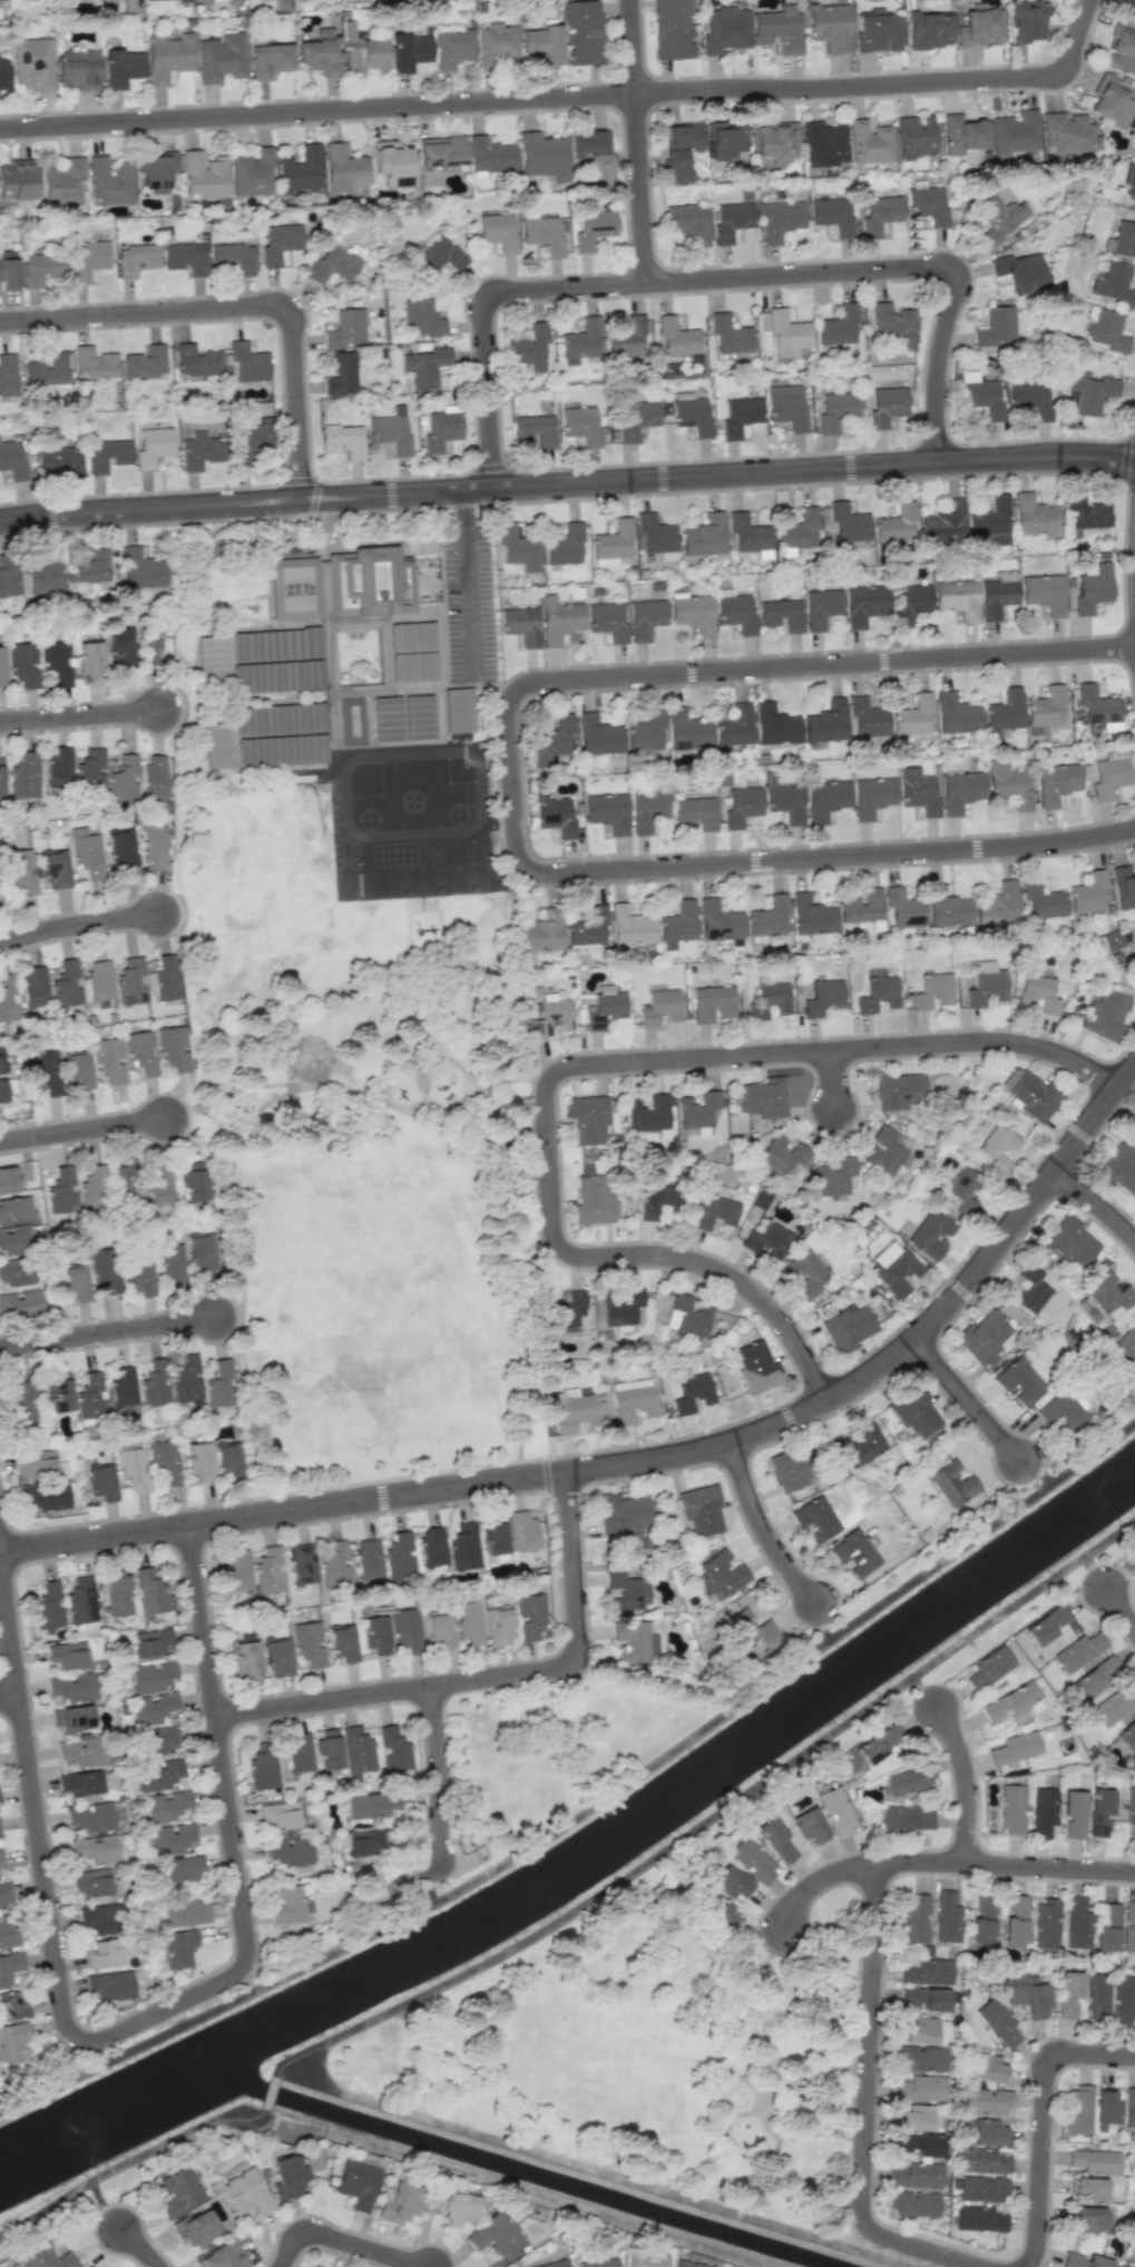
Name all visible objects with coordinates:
building: (153, 0)
building: (233, 0)
building: (202, 1)
building: (123, 4)
building: (1128, 8)
building: (1025, 20)
building: (829, 26)
building: (980, 26)
building: (672, 29)
building: (724, 29)
building: (777, 29)
building: (929, 29)
building: (584, 31)
building: (877, 31)
building: (542, 42)
building: (496, 43)
building: (452, 47)
building: (408, 51)
building: (1121, 51)
building: (320, 52)
building: (363, 53)
building: (168, 57)
building: (221, 57)
building: (268, 59)
building: (32, 63)
building: (121, 67)
building: (78, 69)
building: (2, 74)
road: (890, 85)
building: (1110, 100)
road: (319, 113)
building: (1015, 133)
building: (1067, 133)
building: (962, 134)
building: (913, 136)
road: (639, 140)
building: (774, 140)
building: (724, 141)
building: (869, 141)
building: (822, 143)
building: (679, 149)
building: (441, 152)
building: (489, 156)
building: (542, 156)
building: (593, 156)
building: (390, 163)
building: (343, 168)
building: (300, 169)
building: (155, 170)
building: (252, 173)
building: (203, 176)
building: (61, 180)
building: (109, 180)
building: (16, 182)
building: (1132, 190)
building: (928, 205)
building: (879, 213)
building: (832, 215)
building: (997, 216)
building: (779, 219)
building: (731, 221)
building: (687, 222)
building: (594, 227)
building: (498, 232)
building: (542, 233)
building: (1124, 238)
building: (278, 242)
building: (437, 254)
building: (234, 256)
building: (185, 257)
building: (88, 258)
building: (136, 260)
building: (331, 265)
building: (1020, 272)
building: (8, 274)
road: (718, 277)
building: (1113, 285)
road: (237, 307)
building: (421, 317)
building: (894, 324)
building: (839, 325)
building: (998, 326)
building: (345, 329)
building: (1107, 331)
building: (786, 332)
building: (730, 334)
building: (626, 336)
building: (677, 338)
building: (581, 340)
building: (529, 349)
building: (195, 360)
building: (145, 362)
building: (247, 362)
building: (94, 363)
building: (424, 367)
building: (47, 371)
building: (7, 374)
building: (341, 374)
building: (1087, 393)
building: (1029, 398)
building: (886, 405)
building: (786, 407)
building: (835, 409)
building: (740, 414)
building: (692, 416)
building: (636, 419)
building: (580, 426)
building: (440, 429)
building: (534, 429)
building: (391, 433)
building: (252, 436)
building: (342, 441)
building: (153, 446)
building: (199, 450)
building: (106, 455)
building: (13, 459)
building: (60, 461)
road: (717, 475)
road: (149, 508)
building: (1085, 515)
building: (1034, 516)
building: (943, 524)
building: (989, 524)
building: (894, 525)
building: (848, 526)
building: (798, 531)
building: (747, 532)
building: (655, 535)
building: (704, 536)
building: (614, 540)
building: (565, 546)
building: (518, 547)
building: (89, 567)
building: (141, 570)
building: (41, 576)
building: (8, 582)
road: (467, 584)
building: (1092, 586)
building: (1044, 593)
building: (996, 597)
building: (957, 598)
building: (910, 602)
building: (863, 604)
building: (821, 607)
building: (736, 613)
building: (693, 614)
building: (781, 614)
building: (363, 616)
building: (645, 617)
building: (558, 619)
building: (607, 621)
building: (521, 625)
building: (275, 644)
building: (150, 645)
building: (119, 646)
building: (211, 657)
building: (89, 661)
building: (55, 663)
road: (834, 664)
building: (1, 667)
building: (23, 667)
building: (277, 676)
building: (1045, 706)
building: (458, 710)
building: (1002, 712)
road: (80, 714)
building: (956, 714)
building: (912, 715)
building: (418, 717)
building: (867, 717)
building: (280, 719)
building: (387, 719)
building: (350, 721)
building: (825, 722)
building: (774, 724)
building: (734, 726)
building: (645, 730)
building: (686, 730)
building: (598, 735)
building: (552, 740)
building: (218, 745)
building: (281, 750)
building: (58, 766)
building: (89, 770)
building: (0, 775)
building: (25, 775)
building: (1108, 776)
building: (123, 779)
building: (153, 779)
road: (513, 782)
building: (1055, 783)
building: (1008, 784)
building: (917, 791)
building: (960, 791)
building: (871, 795)
building: (825, 799)
building: (784, 802)
building: (740, 804)
building: (647, 810)
building: (607, 811)
building: (695, 812)
building: (554, 814)
building: (153, 847)
building: (121, 849)
building: (86, 852)
road: (842, 857)
building: (55, 869)
building: (21, 872)
building: (1123, 886)
building: (1087, 893)
building: (1040, 900)
building: (997, 905)
building: (861, 906)
building: (946, 907)
building: (902, 908)
building: (811, 915)
building: (767, 917)
park: (264, 919)
building: (718, 920)
building: (678, 922)
road: (81, 925)
building: (587, 926)
building: (630, 926)
building: (544, 930)
building: (1110, 940)
building: (1133, 945)
building: (581, 947)
building: (147, 979)
building: (98, 980)
building: (985, 984)
building: (66, 985)
building: (33, 986)
building: (931, 991)
building: (1039, 993)
building: (877, 994)
building: (7, 997)
building: (821, 997)
building: (771, 1000)
building: (712, 1004)
building: (659, 1007)
building: (604, 1009)
building: (557, 1013)
building: (1105, 1015)
building: (173, 1048)
building: (140, 1052)
road: (427, 1058)
building: (108, 1059)
building: (0, 1063)
road: (586, 1065)
building: (78, 1069)
building: (45, 1072)
road: (835, 1079)
road: (506, 1083)
road: (272, 1084)
building: (900, 1091)
building: (1, 1092)
building: (1033, 1096)
building: (763, 1097)
building: (698, 1110)
road: (431, 1113)
building: (587, 1117)
road: (84, 1130)
park: (360, 1145)
building: (997, 1149)
building: (883, 1152)
building: (781, 1154)
building: (1119, 1169)
building: (833, 1176)
building: (127, 1179)
building: (7, 1181)
building: (194, 1183)
building: (159, 1184)
building: (91, 1185)
building: (61, 1190)
building: (658, 1200)
building: (593, 1201)
road: (1097, 1202)
building: (713, 1205)
building: (14, 1209)
park: (358, 1230)
building: (929, 1233)
building: (13, 1239)
building: (766, 1239)
building: (203, 1254)
building: (172, 1266)
building: (893, 1268)
building: (105, 1270)
building: (16, 1272)
road: (244, 1273)
building: (803, 1273)
building: (139, 1277)
building: (74, 1284)
building: (1030, 1289)
building: (1108, 1292)
building: (20, 1303)
building: (622, 1306)
building: (574, 1308)
road: (229, 1315)
building: (688, 1316)
building: (847, 1328)
road: (108, 1333)
building: (982, 1336)
building: (1125, 1349)
building: (755, 1367)
building: (185, 1377)
building: (1017, 1380)
building: (154, 1384)
building: (218, 1384)
building: (121, 1386)
park: (385, 1386)
building: (692, 1394)
building: (90, 1396)
building: (632, 1400)
road: (968, 1400)
building: (23, 1404)
building: (1060, 1410)
building: (914, 1411)
building: (862, 1443)
building: (229, 1458)
building: (199, 1460)
building: (165, 1463)
road: (644, 1463)
building: (36, 1464)
building: (133, 1469)
building: (787, 1469)
building: (101, 1482)
building: (953, 1483)
building: (43, 1496)
building: (702, 1509)
building: (622, 1514)
building: (815, 1517)
building: (521, 1530)
road: (763, 1530)
building: (492, 1537)
building: (431, 1546)
building: (463, 1546)
building: (853, 1553)
building: (399, 1556)
building: (366, 1557)
building: (496, 1557)
building: (1134, 1558)
building: (333, 1563)
building: (302, 1564)
building: (236, 1570)
building: (270, 1571)
building: (723, 1572)
road: (1095, 1572)
building: (149, 1591)
building: (627, 1591)
building: (117, 1595)
building: (80, 1601)
building: (49, 1608)
road: (1121, 1609)
road: (878, 1611)
building: (469, 1622)
building: (1047, 1623)
building: (498, 1626)
building: (405, 1630)
building: (750, 1631)
building: (439, 1632)
building: (246, 1634)
building: (375, 1634)
building: (635, 1641)
building: (151, 1642)
building: (309, 1643)
building: (342, 1643)
building: (1078, 1651)
building: (66, 1655)
building: (277, 1657)
building: (246, 1659)
building: (989, 1668)
building: (151, 1675)
building: (1092, 1678)
road: (485, 1679)
building: (71, 1688)
road: (921, 1689)
road: (8, 1694)
building: (1009, 1701)
building: (1115, 1704)
building: (151, 1709)
building: (72, 1718)
building: (1126, 1735)
building: (162, 1740)
road: (216, 1742)
building: (874, 1746)
building: (393, 1748)
building: (1015, 1748)
building: (327, 1749)
building: (358, 1749)
building: (80, 1752)
building: (299, 1752)
building: (263, 1767)
road: (443, 1772)
building: (158, 1773)
building: (908, 1778)
road: (963, 1779)
building: (81, 1782)
building: (370, 1804)
building: (166, 1805)
building: (1011, 1809)
building: (835, 1810)
building: (1043, 1811)
building: (1098, 1811)
building: (1131, 1812)
building: (1073, 1814)
road: (714, 1815)
building: (277, 1816)
building: (88, 1817)
building: (906, 1817)
building: (809, 1825)
building: (170, 1838)
building: (363, 1840)
building: (776, 1840)
building: (95, 1850)
building: (288, 1850)
building: (1, 1859)
building: (752, 1860)
road: (942, 1863)
building: (183, 1868)
building: (90, 1882)
building: (728, 1882)
building: (4, 1895)
building: (288, 1904)
building: (714, 1904)
building: (184, 1912)
road: (46, 1914)
building: (947, 1916)
building: (99, 1918)
building: (914, 1918)
building: (1015, 1919)
building: (981, 1921)
building: (1076, 1922)
building: (1045, 1923)
building: (1128, 1925)
building: (1106, 1927)
building: (8, 1934)
building: (178, 1947)
building: (104, 1954)
road: (311, 1960)
building: (10, 1966)
building: (924, 1971)
building: (109, 1985)
building: (1026, 1994)
building: (1068, 1994)
building: (1096, 1997)
building: (923, 1999)
building: (1123, 2000)
building: (12, 2006)
building: (998, 2022)
building: (916, 2030)
building: (11, 2042)
park: (647, 2056)
building: (920, 2058)
building: (986, 2068)
building: (921, 2088)
road: (270, 2092)
building: (986, 2100)
road: (862, 2109)
building: (1105, 2109)
building: (1078, 2110)
building: (1128, 2112)
building: (914, 2118)
road: (1040, 2122)
building: (982, 2132)
building: (917, 2146)
building: (981, 2160)
road: (130, 2161)
building: (1095, 2161)
road: (577, 2165)
building: (287, 2176)
building: (916, 2176)
building: (355, 2183)
building: (979, 2188)
building: (1087, 2189)
building: (177, 2191)
building: (244, 2192)
building: (399, 2202)
building: (913, 2204)
road: (101, 2207)
building: (456, 2208)
building: (978, 2218)
building: (1086, 2219)
building: (195, 2228)
building: (493, 2234)
road: (346, 2240)
road: (137, 2247)
building: (223, 2256)
road: (878, 2257)
building: (45, 2258)
building: (645, 2259)
building: (1084, 2260)
building: (598, 2263)
building: (554, 2264)
building: (688, 2264)
building: (87, 2266)

